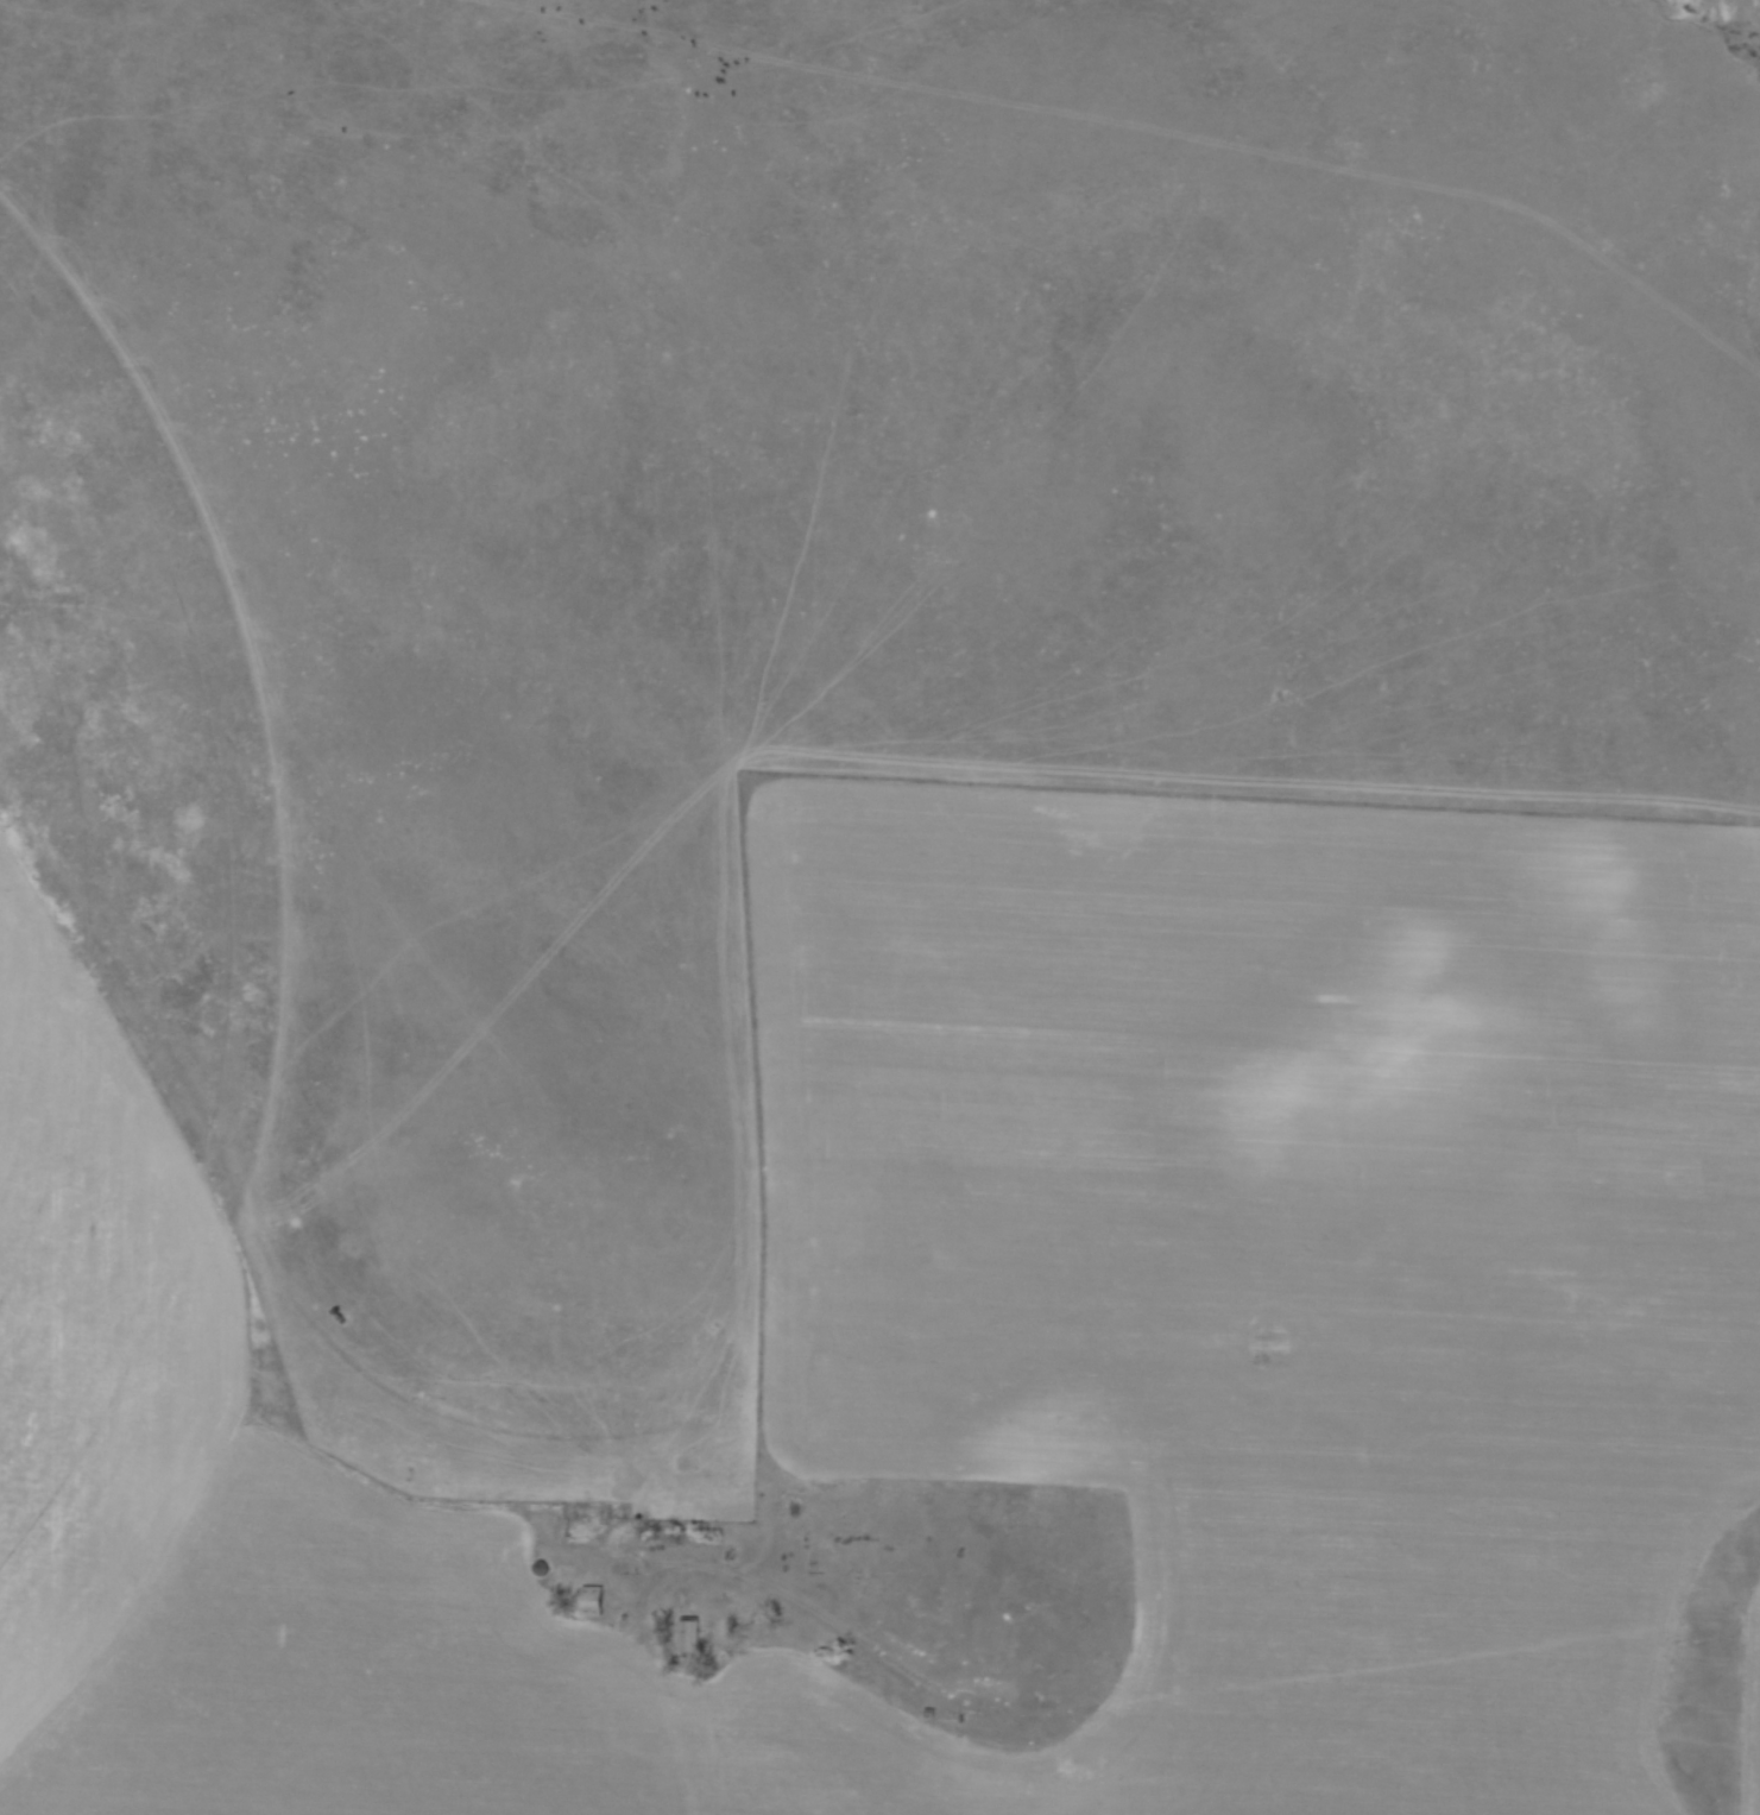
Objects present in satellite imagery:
crop: (112, 1026)
building: (592, 1515)
road: (698, 1567)
building: (545, 1570)
silo: (545, 1570)
building: (597, 1602)
building: (692, 1640)

